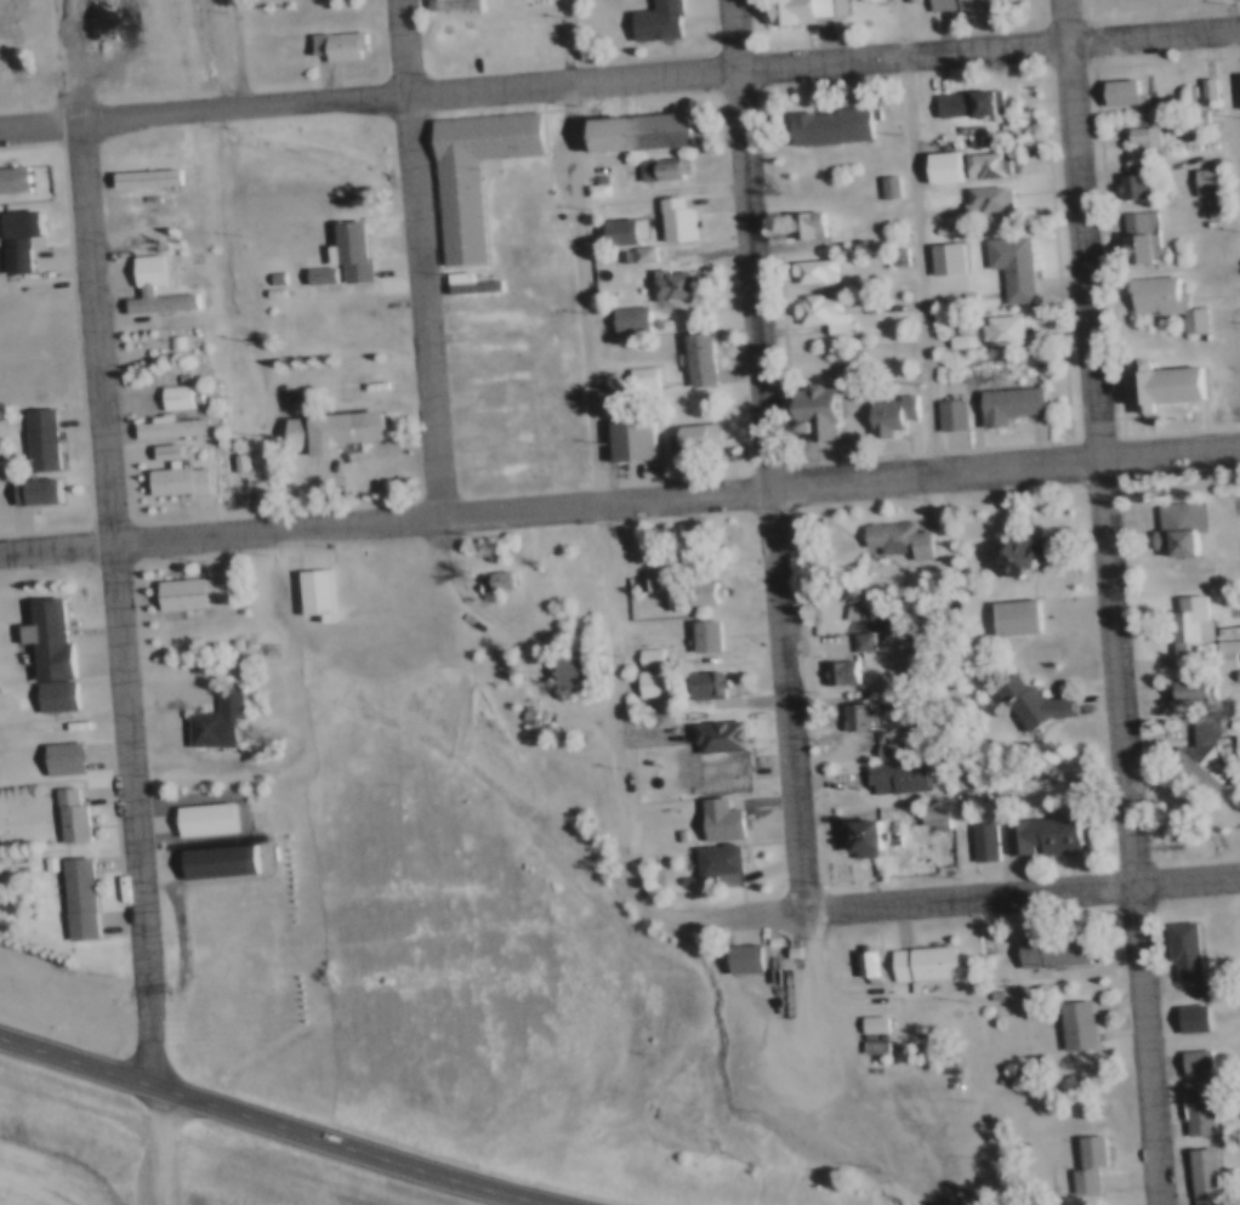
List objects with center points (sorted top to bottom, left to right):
building: (955, 4)
building: (446, 5)
building: (803, 10)
building: (654, 21)
building: (459, 35)
road: (738, 38)
building: (335, 45)
road: (409, 50)
road: (1236, 51)
road: (244, 56)
road: (620, 84)
building: (1200, 87)
building: (1211, 87)
building: (1236, 89)
building: (1116, 92)
building: (962, 103)
building: (1199, 119)
building: (825, 126)
building: (633, 133)
building: (1134, 133)
building: (979, 165)
building: (938, 167)
building: (654, 170)
building: (468, 174)
building: (11, 178)
building: (144, 180)
building: (1201, 180)
building: (1127, 181)
building: (592, 184)
building: (883, 186)
building: (893, 186)
building: (982, 197)
building: (670, 220)
building: (801, 223)
building: (931, 227)
building: (615, 232)
building: (1131, 235)
road: (920, 237)
building: (16, 239)
building: (347, 254)
building: (637, 254)
building: (647, 254)
building: (619, 255)
building: (940, 255)
building: (1005, 265)
building: (807, 269)
building: (272, 278)
building: (317, 278)
building: (466, 284)
building: (142, 285)
building: (669, 285)
building: (1157, 299)
road: (431, 308)
building: (817, 311)
building: (366, 316)
building: (625, 317)
building: (996, 328)
building: (951, 335)
building: (170, 341)
building: (694, 358)
building: (176, 377)
building: (636, 381)
building: (1155, 382)
building: (290, 393)
building: (171, 397)
building: (1002, 400)
building: (815, 409)
building: (882, 409)
building: (943, 410)
building: (956, 414)
building: (165, 427)
building: (330, 431)
building: (687, 438)
building: (626, 439)
building: (36, 440)
building: (488, 443)
building: (233, 461)
building: (175, 481)
road: (774, 491)
building: (34, 493)
road: (620, 502)
building: (1168, 522)
road: (607, 533)
building: (887, 533)
building: (1235, 542)
building: (1014, 552)
building: (487, 579)
building: (505, 579)
building: (638, 580)
road: (455, 585)
building: (695, 589)
building: (189, 592)
building: (311, 592)
building: (853, 598)
road: (1114, 602)
road: (119, 603)
building: (1006, 610)
building: (1179, 620)
building: (1196, 624)
building: (695, 631)
building: (851, 633)
building: (711, 635)
building: (868, 640)
building: (241, 641)
building: (206, 642)
building: (227, 642)
building: (1216, 644)
building: (641, 652)
building: (1232, 652)
building: (46, 654)
building: (655, 657)
building: (831, 665)
building: (564, 666)
building: (1232, 666)
building: (233, 667)
building: (846, 671)
building: (892, 672)
building: (644, 677)
building: (694, 678)
building: (659, 682)
building: (712, 683)
building: (1181, 683)
building: (1196, 693)
building: (1238, 694)
building: (1019, 695)
building: (846, 709)
building: (652, 711)
building: (863, 716)
building: (211, 717)
building: (710, 729)
building: (872, 741)
building: (1190, 749)
building: (892, 750)
building: (1210, 755)
building: (1234, 756)
building: (59, 757)
building: (710, 767)
building: (886, 767)
building: (921, 807)
building: (711, 813)
building: (64, 815)
building: (940, 815)
building: (201, 818)
building: (1029, 826)
building: (854, 829)
building: (969, 832)
building: (869, 836)
building: (990, 841)
storage tank: (263, 848)
building: (707, 857)
building: (41, 860)
building: (212, 860)
building: (671, 873)
road: (1022, 889)
building: (70, 897)
building: (1041, 943)
building: (1170, 943)
building: (733, 950)
building: (1189, 950)
building: (854, 953)
building: (912, 954)
building: (875, 961)
building: (861, 1014)
building: (1064, 1017)
building: (881, 1022)
building: (1083, 1025)
building: (861, 1038)
building: (881, 1045)
building: (1183, 1053)
building: (1202, 1062)
building: (1183, 1099)
building: (1205, 1107)
road: (277, 1119)
road: (159, 1143)
building: (1074, 1155)
building: (1094, 1163)
building: (1189, 1172)
building: (1211, 1176)

